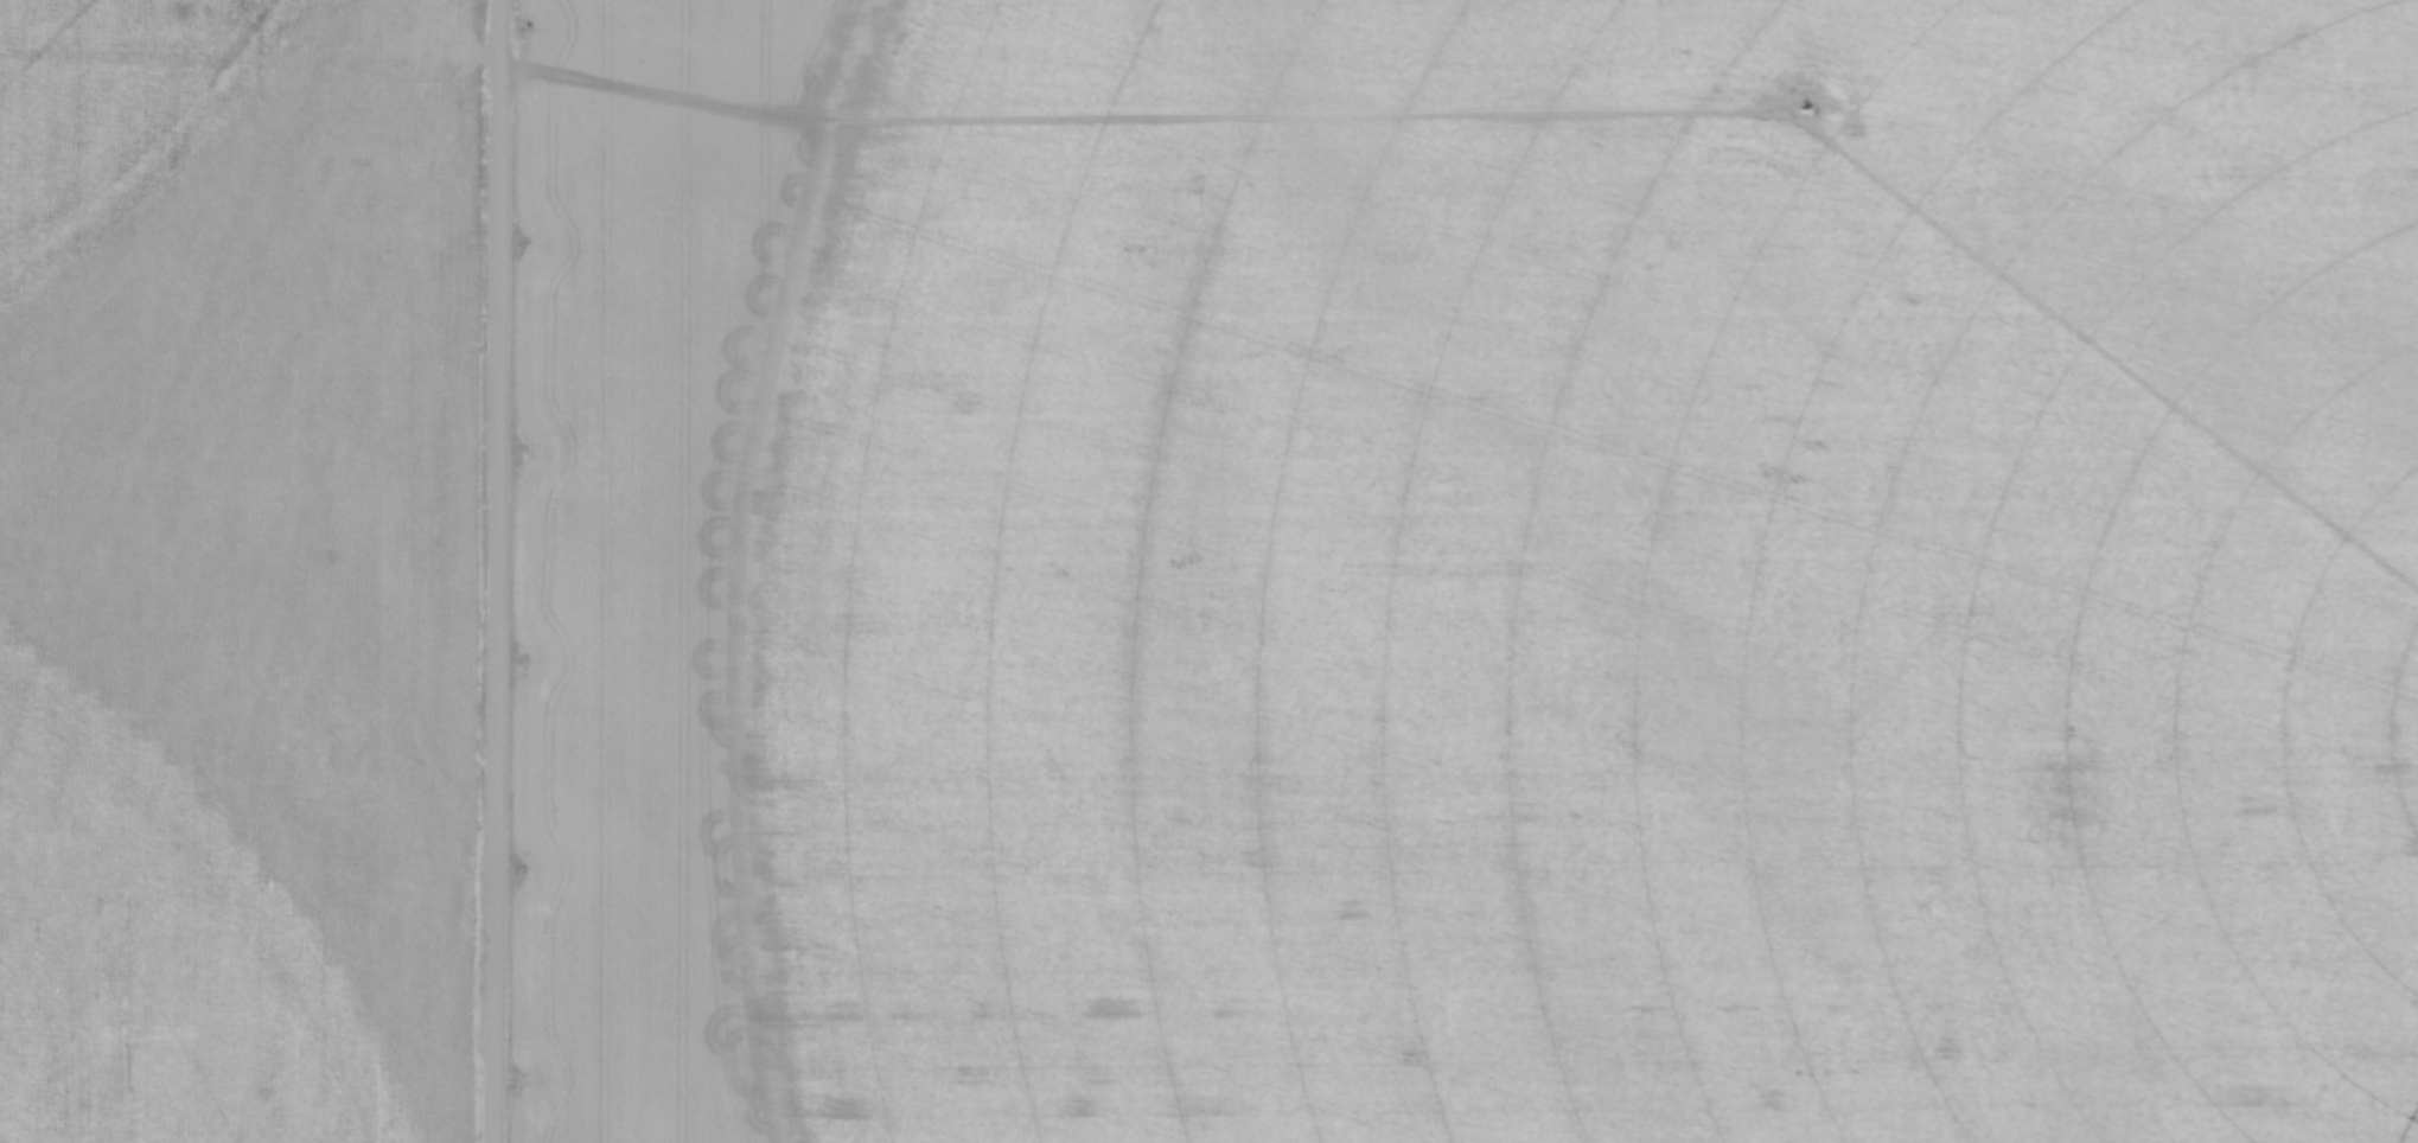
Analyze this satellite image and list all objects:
crop: (238, 570)
road: (499, 570)
crop: (1469, 571)
building: (1747, 774)
building: (1659, 893)

